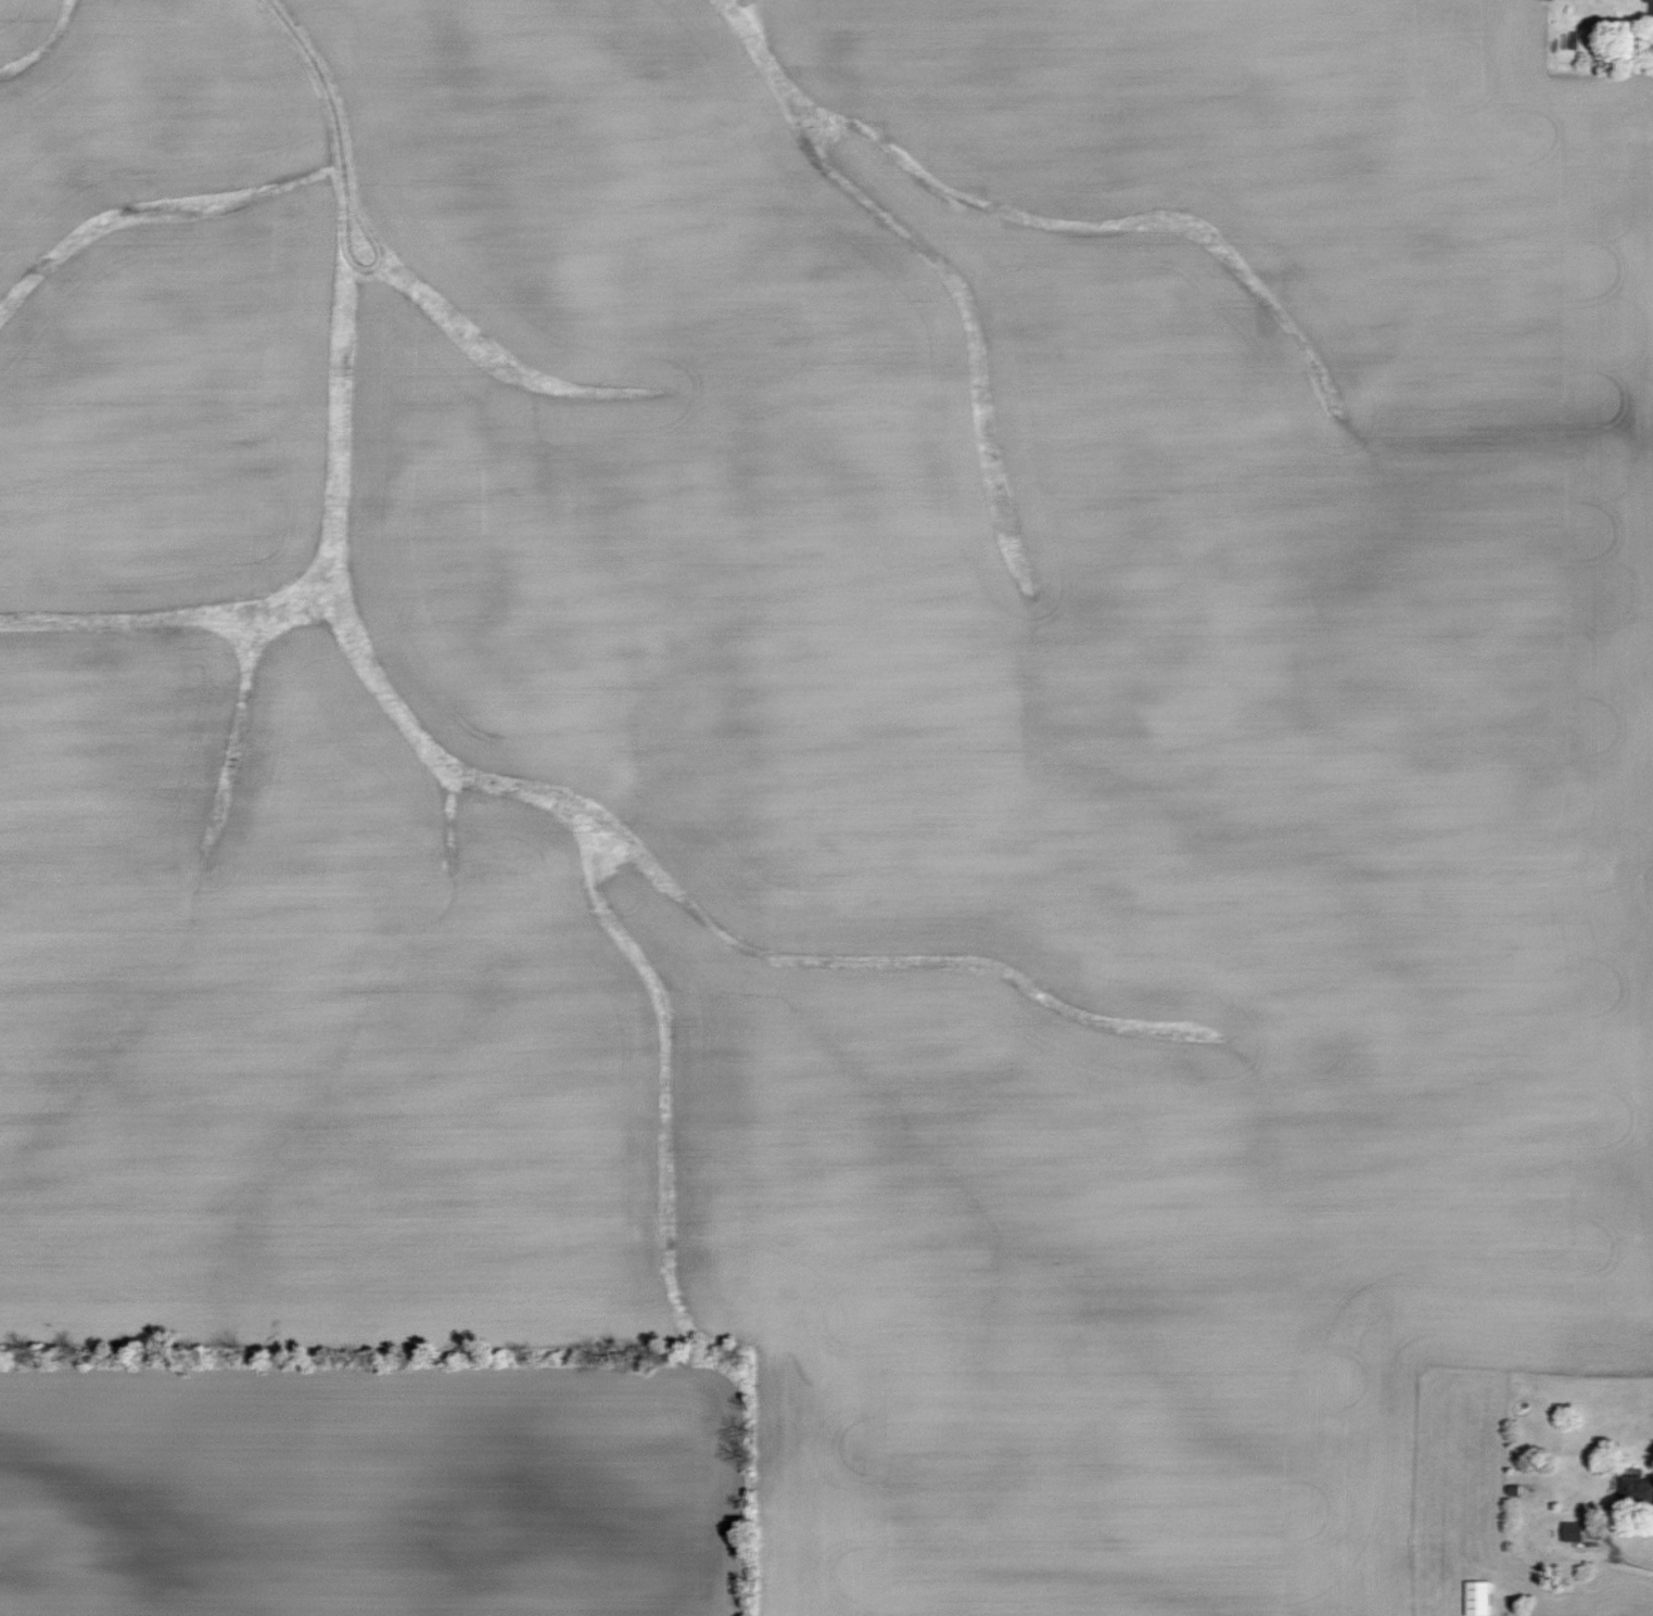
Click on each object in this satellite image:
building: (1652, 8)
building: (1637, 1489)
building: (1573, 1529)
road: (1623, 1556)
building: (1478, 1598)

